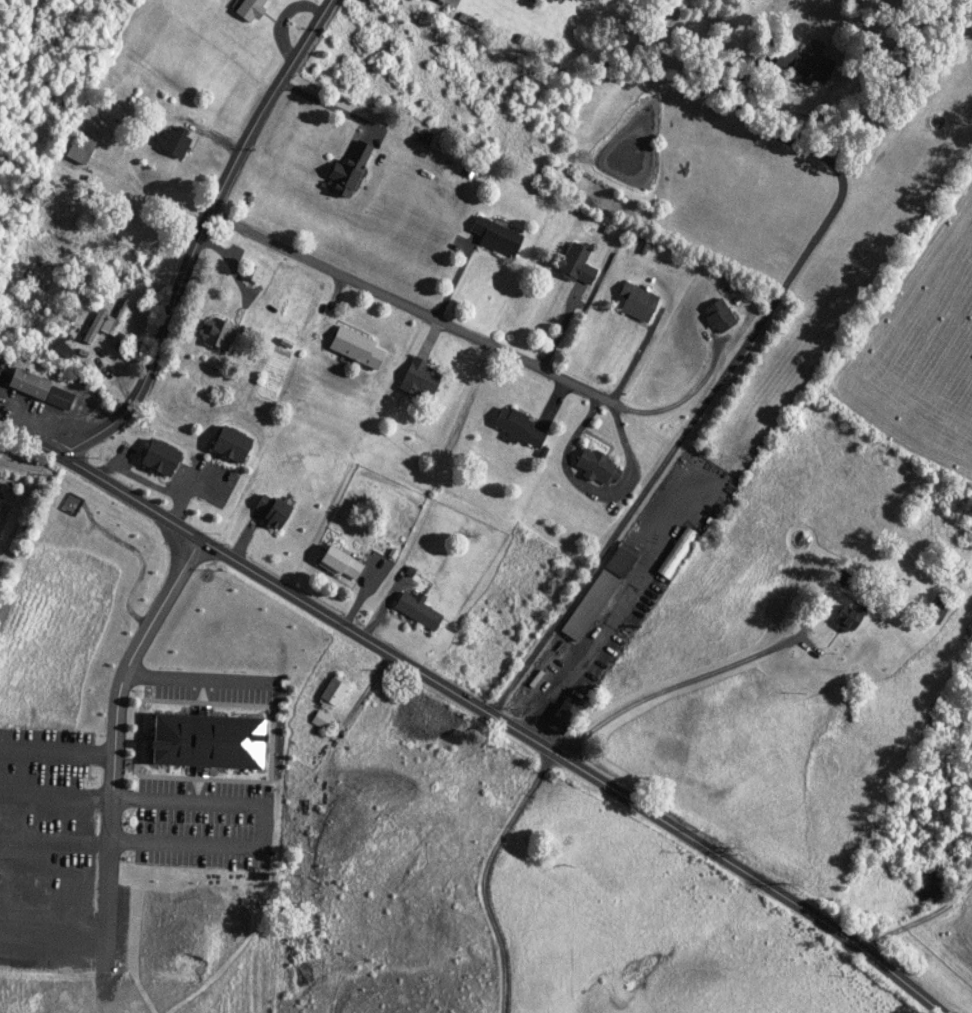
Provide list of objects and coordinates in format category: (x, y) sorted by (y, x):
building: (539, 0)
building: (450, 1)
building: (250, 8)
building: (794, 62)
road: (329, 106)
road: (127, 137)
building: (173, 142)
building: (80, 150)
building: (348, 170)
road: (195, 233)
building: (496, 236)
building: (576, 264)
building: (250, 272)
road: (454, 280)
building: (636, 301)
road: (330, 303)
building: (718, 316)
building: (114, 320)
road: (562, 326)
building: (217, 332)
road: (475, 339)
building: (355, 347)
road: (731, 363)
building: (419, 378)
building: (40, 389)
building: (518, 427)
road: (30, 438)
building: (597, 465)
road: (624, 481)
building: (276, 513)
building: (677, 553)
building: (339, 563)
building: (599, 591)
building: (938, 608)
building: (417, 610)
building: (849, 618)
building: (331, 692)
building: (561, 719)
building: (320, 720)
road: (509, 723)
building: (208, 744)
road: (388, 780)
road: (485, 872)
road: (920, 917)

